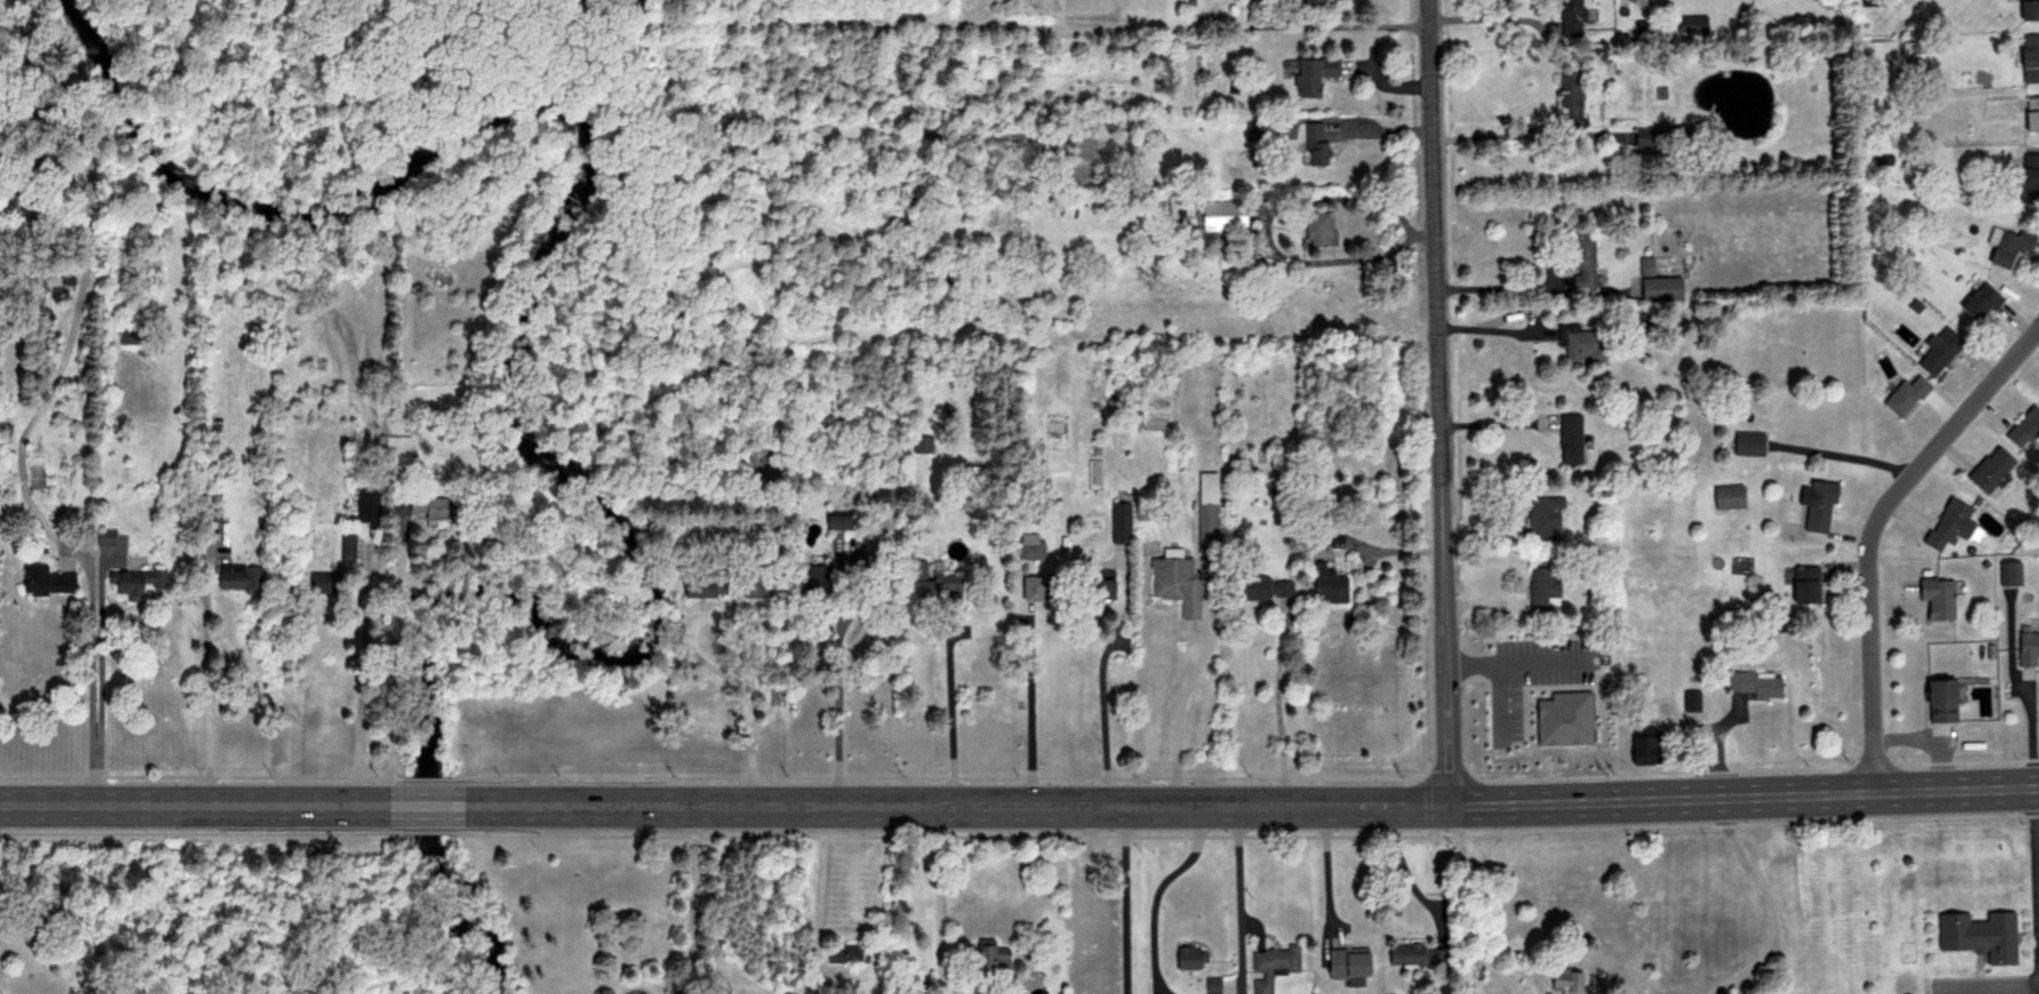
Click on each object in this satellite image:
building: (1312, 2)
building: (1871, 3)
building: (1568, 7)
building: (2029, 9)
road: (1489, 18)
road: (1382, 27)
building: (2027, 58)
building: (1312, 75)
building: (1569, 90)
building: (2031, 114)
road: (1490, 135)
building: (1315, 144)
building: (2029, 176)
road: (1266, 212)
building: (1222, 216)
building: (1318, 229)
building: (2005, 245)
building: (1582, 262)
building: (1644, 265)
road: (1494, 286)
building: (1659, 288)
building: (1980, 302)
road: (1492, 328)
building: (1580, 344)
building: (1938, 350)
building: (1905, 395)
road: (1440, 399)
road: (1494, 422)
building: (2025, 428)
building: (1569, 439)
building: (921, 444)
building: (1747, 444)
building: (397, 452)
building: (761, 455)
building: (1990, 469)
building: (1727, 497)
building: (1818, 505)
building: (366, 506)
building: (434, 507)
building: (1140, 509)
building: (1207, 513)
building: (1543, 517)
building: (837, 522)
building: (1949, 524)
building: (1120, 525)
road: (1875, 529)
building: (346, 545)
building: (1030, 547)
building: (2008, 573)
building: (237, 577)
building: (46, 581)
building: (815, 581)
building: (134, 582)
building: (932, 582)
building: (1175, 582)
building: (328, 583)
building: (1328, 585)
building: (1804, 585)
building: (1261, 586)
building: (1542, 586)
building: (704, 587)
building: (752, 588)
building: (1039, 588)
building: (1098, 588)
building: (1936, 598)
road: (837, 629)
building: (2027, 648)
road: (89, 660)
road: (1468, 660)
road: (396, 663)
road: (97, 683)
building: (1754, 684)
road: (202, 699)
road: (1101, 701)
building: (1940, 701)
road: (358, 702)
road: (1278, 705)
road: (949, 709)
road: (1177, 710)
road: (749, 712)
road: (1029, 712)
building: (1571, 712)
building: (1690, 712)
building: (1510, 716)
road: (2030, 729)
building: (1643, 746)
road: (1019, 805)
road: (1404, 864)
road: (1326, 870)
road: (1460, 876)
road: (2035, 890)
road: (1154, 893)
road: (1234, 898)
road: (1121, 899)
road: (690, 900)
road: (813, 901)
road: (934, 903)
road: (1764, 903)
building: (1977, 935)
building: (846, 955)
building: (1408, 955)
building: (1188, 958)
building: (991, 960)
building: (1346, 964)
building: (1272, 965)
road: (1506, 967)
road: (1466, 974)
building: (1565, 981)
building: (913, 987)

